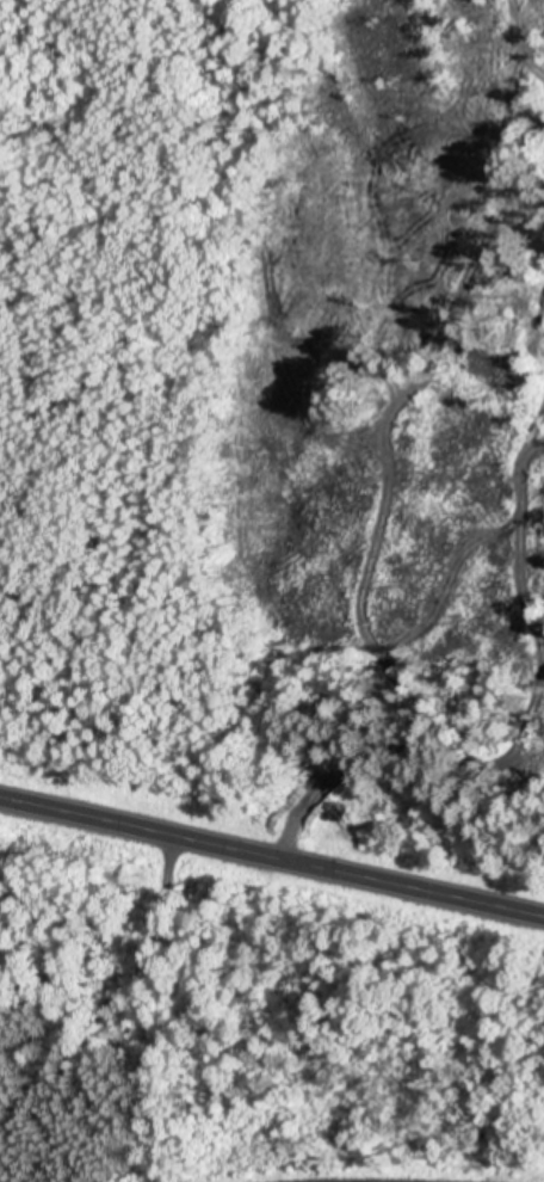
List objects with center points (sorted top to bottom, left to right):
road: (271, 861)
road: (112, 1009)

